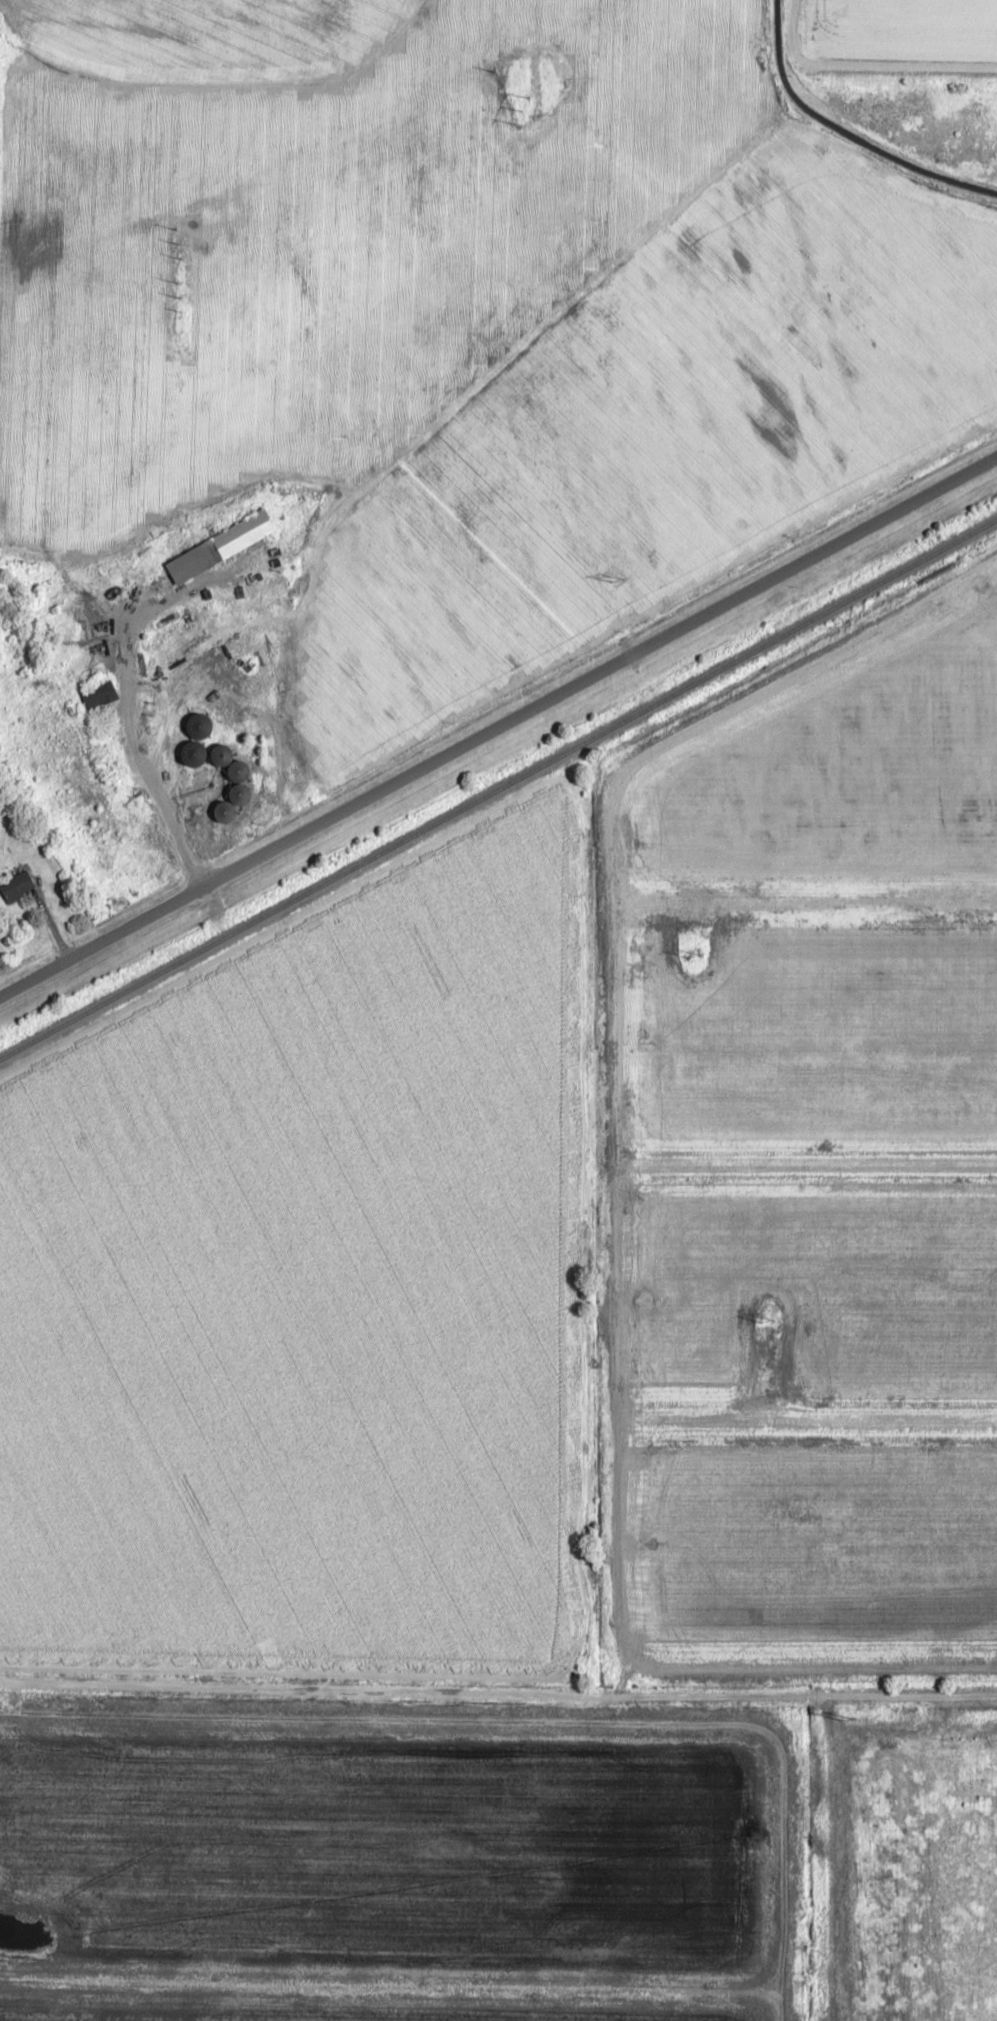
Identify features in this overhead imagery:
road: (778, 37)
power tower: (524, 109)
road: (877, 152)
power tower: (179, 294)
building: (220, 546)
power tower: (615, 579)
building: (98, 694)
building: (197, 725)
road: (497, 726)
road: (138, 753)
building: (190, 753)
building: (219, 753)
building: (237, 770)
railway: (498, 787)
building: (238, 794)
building: (224, 810)
building: (16, 886)
power tower: (694, 953)
building: (253, 1286)
crop: (310, 1290)
power tower: (765, 1317)
road: (498, 1695)
power tower: (849, 1718)

